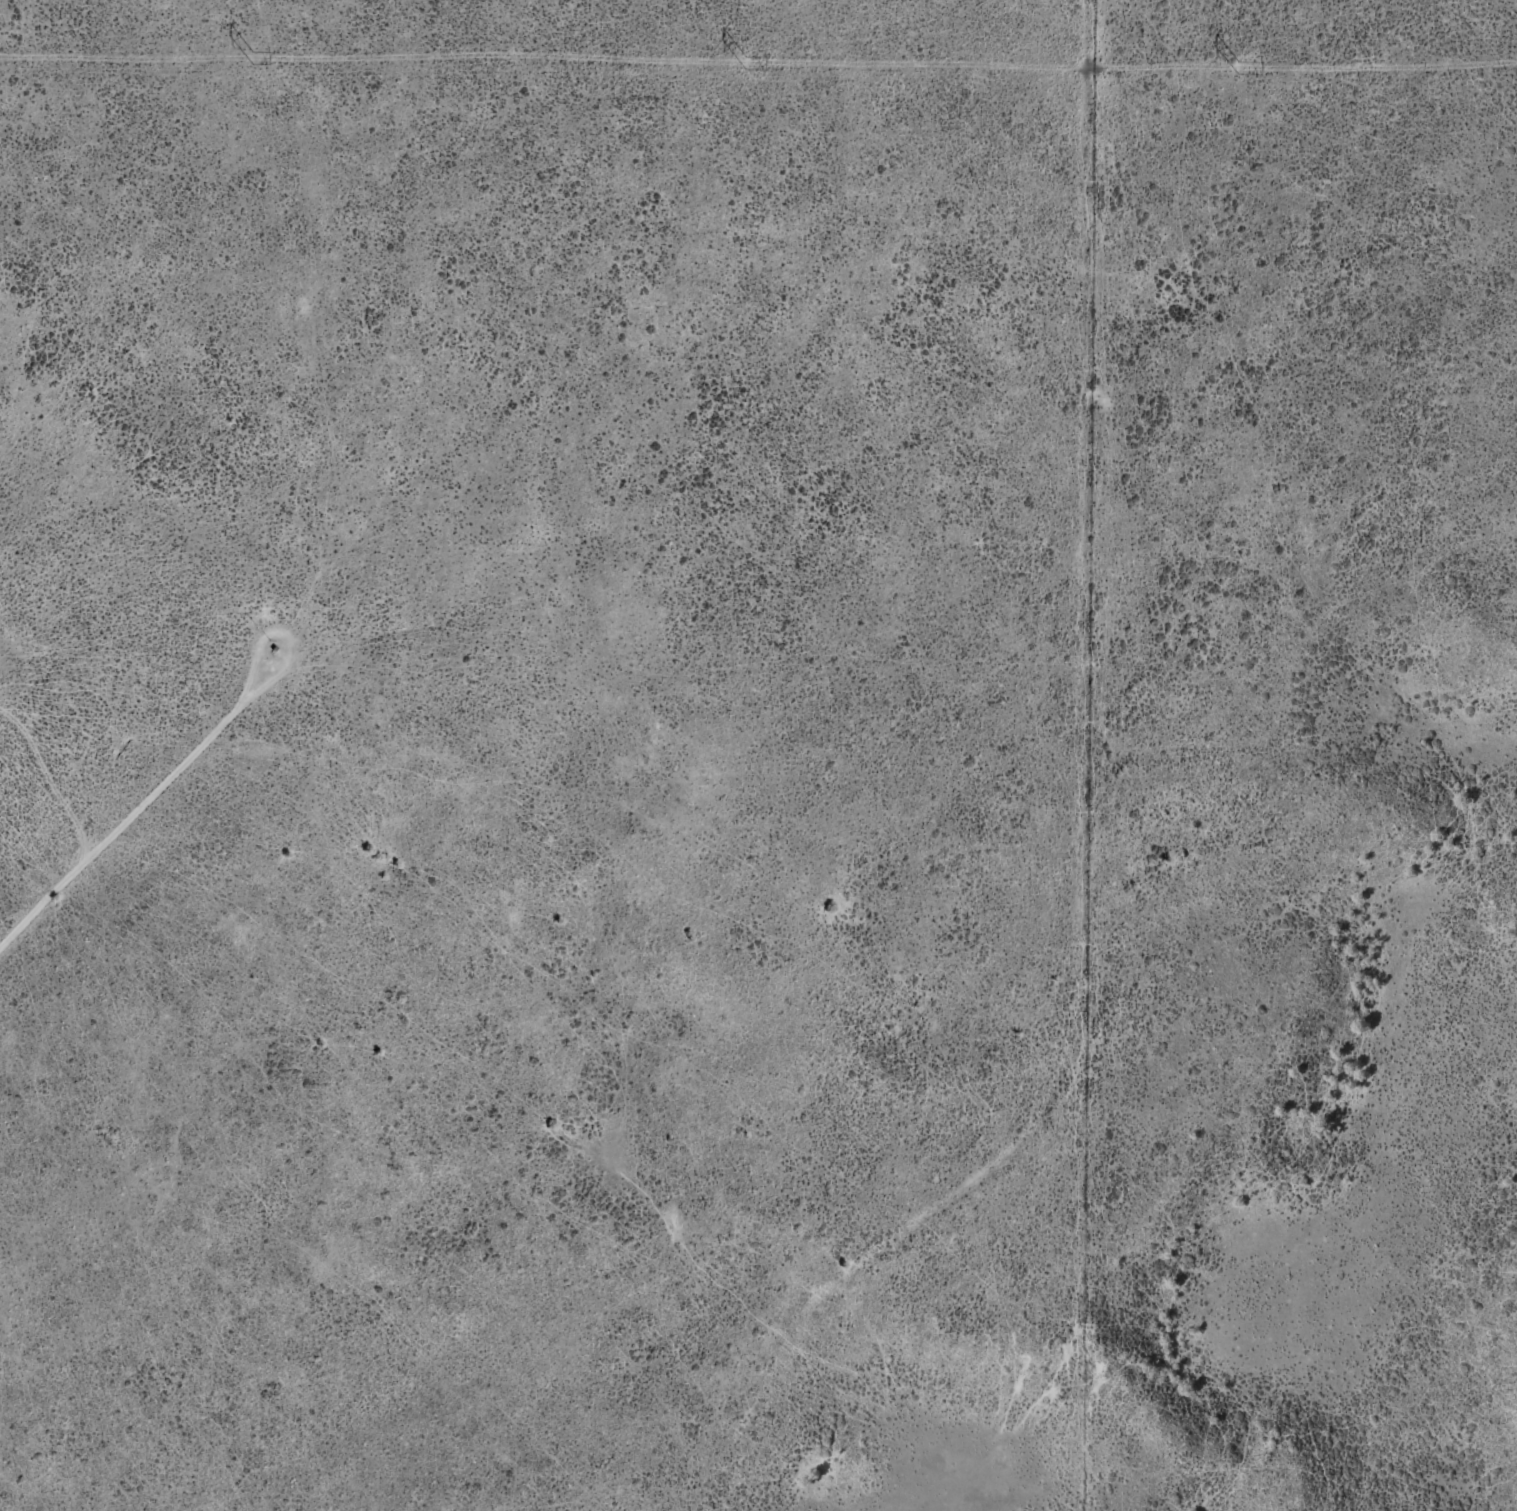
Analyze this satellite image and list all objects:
power tower: (251, 58)
power tower: (743, 65)
power tower: (1236, 65)
road: (136, 847)

